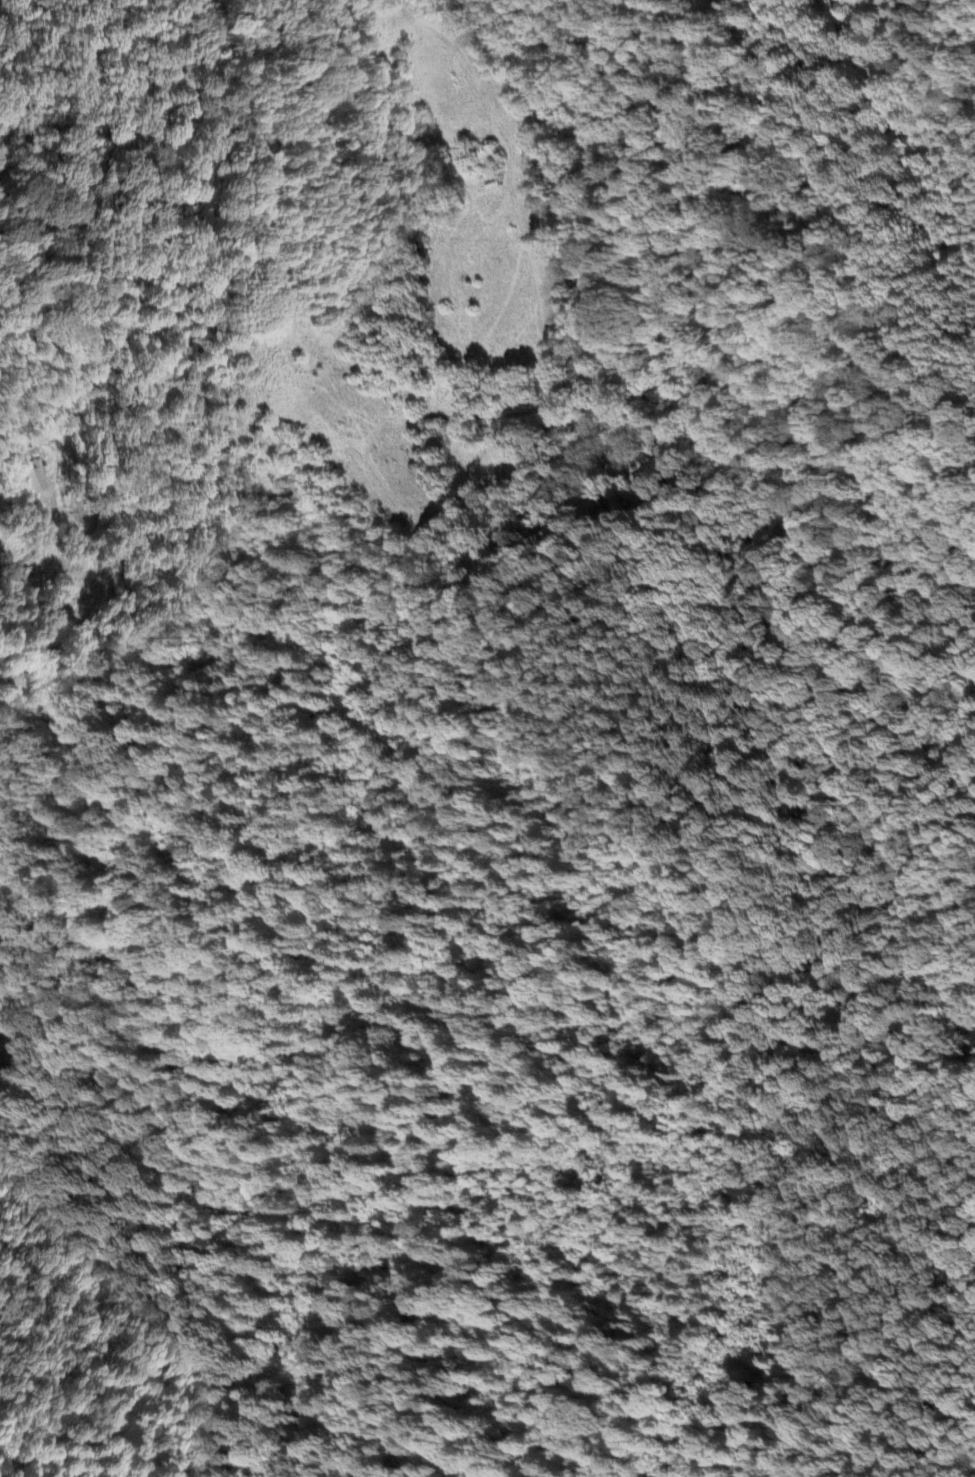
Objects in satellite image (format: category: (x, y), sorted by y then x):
building: (35, 476)

